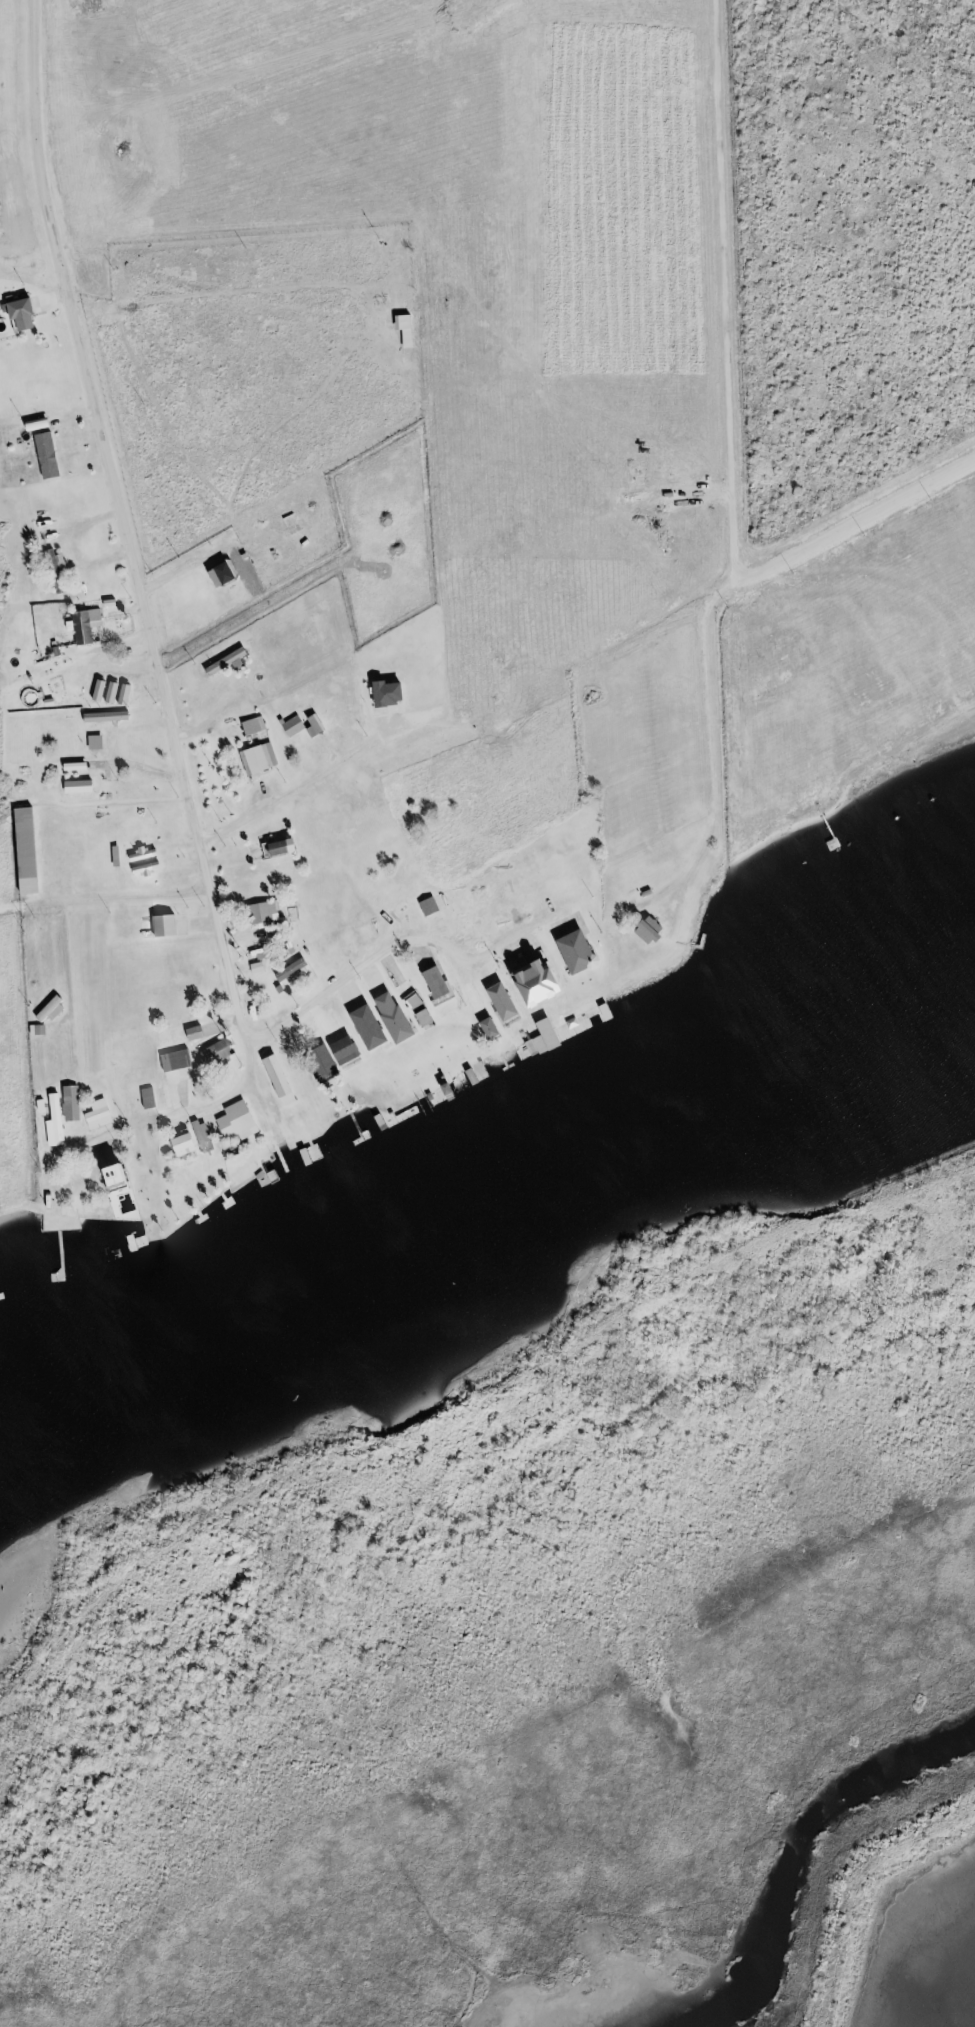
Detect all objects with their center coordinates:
building: (16, 309)
building: (403, 329)
road: (728, 464)
road: (127, 559)
building: (54, 570)
building: (221, 574)
road: (859, 581)
building: (82, 626)
building: (224, 663)
building: (96, 677)
building: (376, 692)
building: (104, 717)
building: (291, 726)
building: (249, 727)
building: (93, 743)
building: (256, 759)
building: (275, 848)
building: (23, 851)
building: (136, 855)
building: (143, 868)
building: (427, 907)
building: (261, 914)
building: (646, 931)
road: (398, 947)
building: (582, 982)
building: (434, 984)
building: (553, 996)
building: (414, 1008)
building: (390, 1018)
building: (486, 1029)
building: (363, 1030)
building: (192, 1033)
building: (525, 1051)
building: (217, 1052)
building: (329, 1057)
building: (173, 1061)
building: (271, 1068)
building: (469, 1077)
building: (69, 1104)
building: (96, 1116)
road: (169, 1117)
building: (237, 1119)
building: (53, 1120)
building: (200, 1134)
building: (178, 1146)
building: (132, 1155)
building: (112, 1177)
building: (46, 1194)

